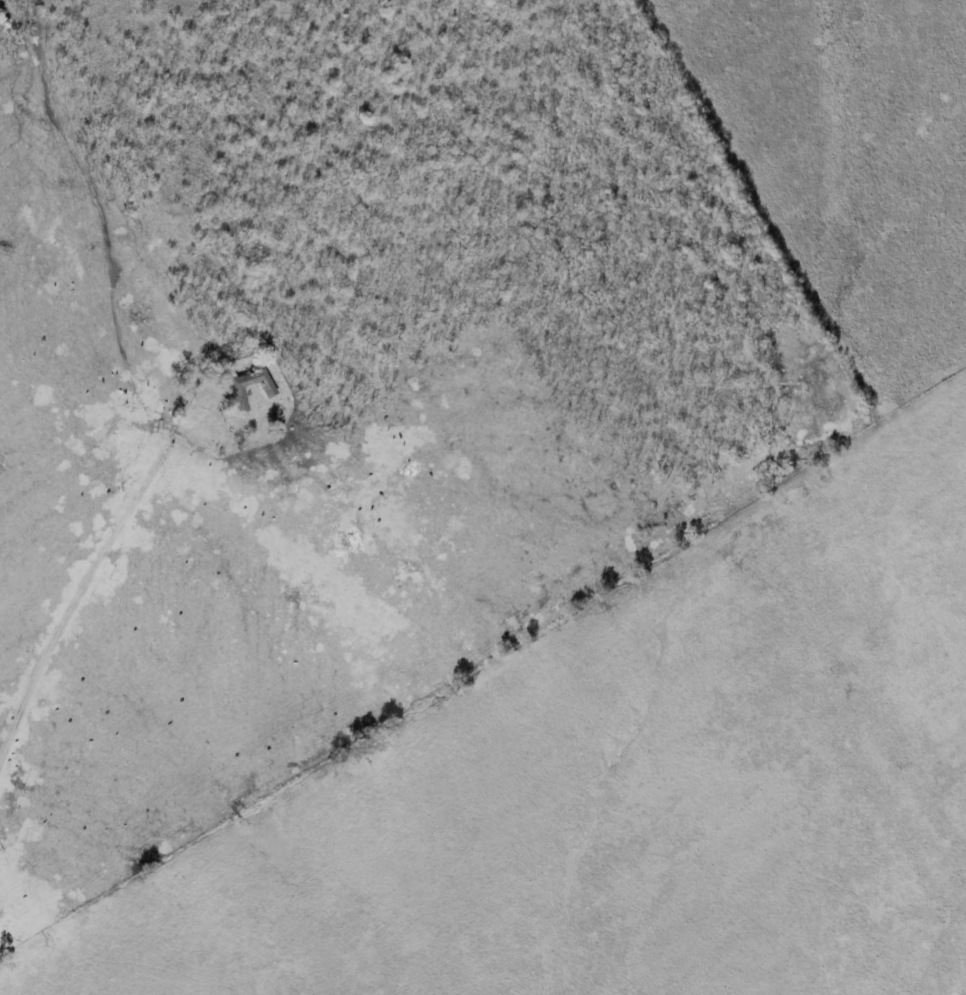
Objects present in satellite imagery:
building: (238, 391)

